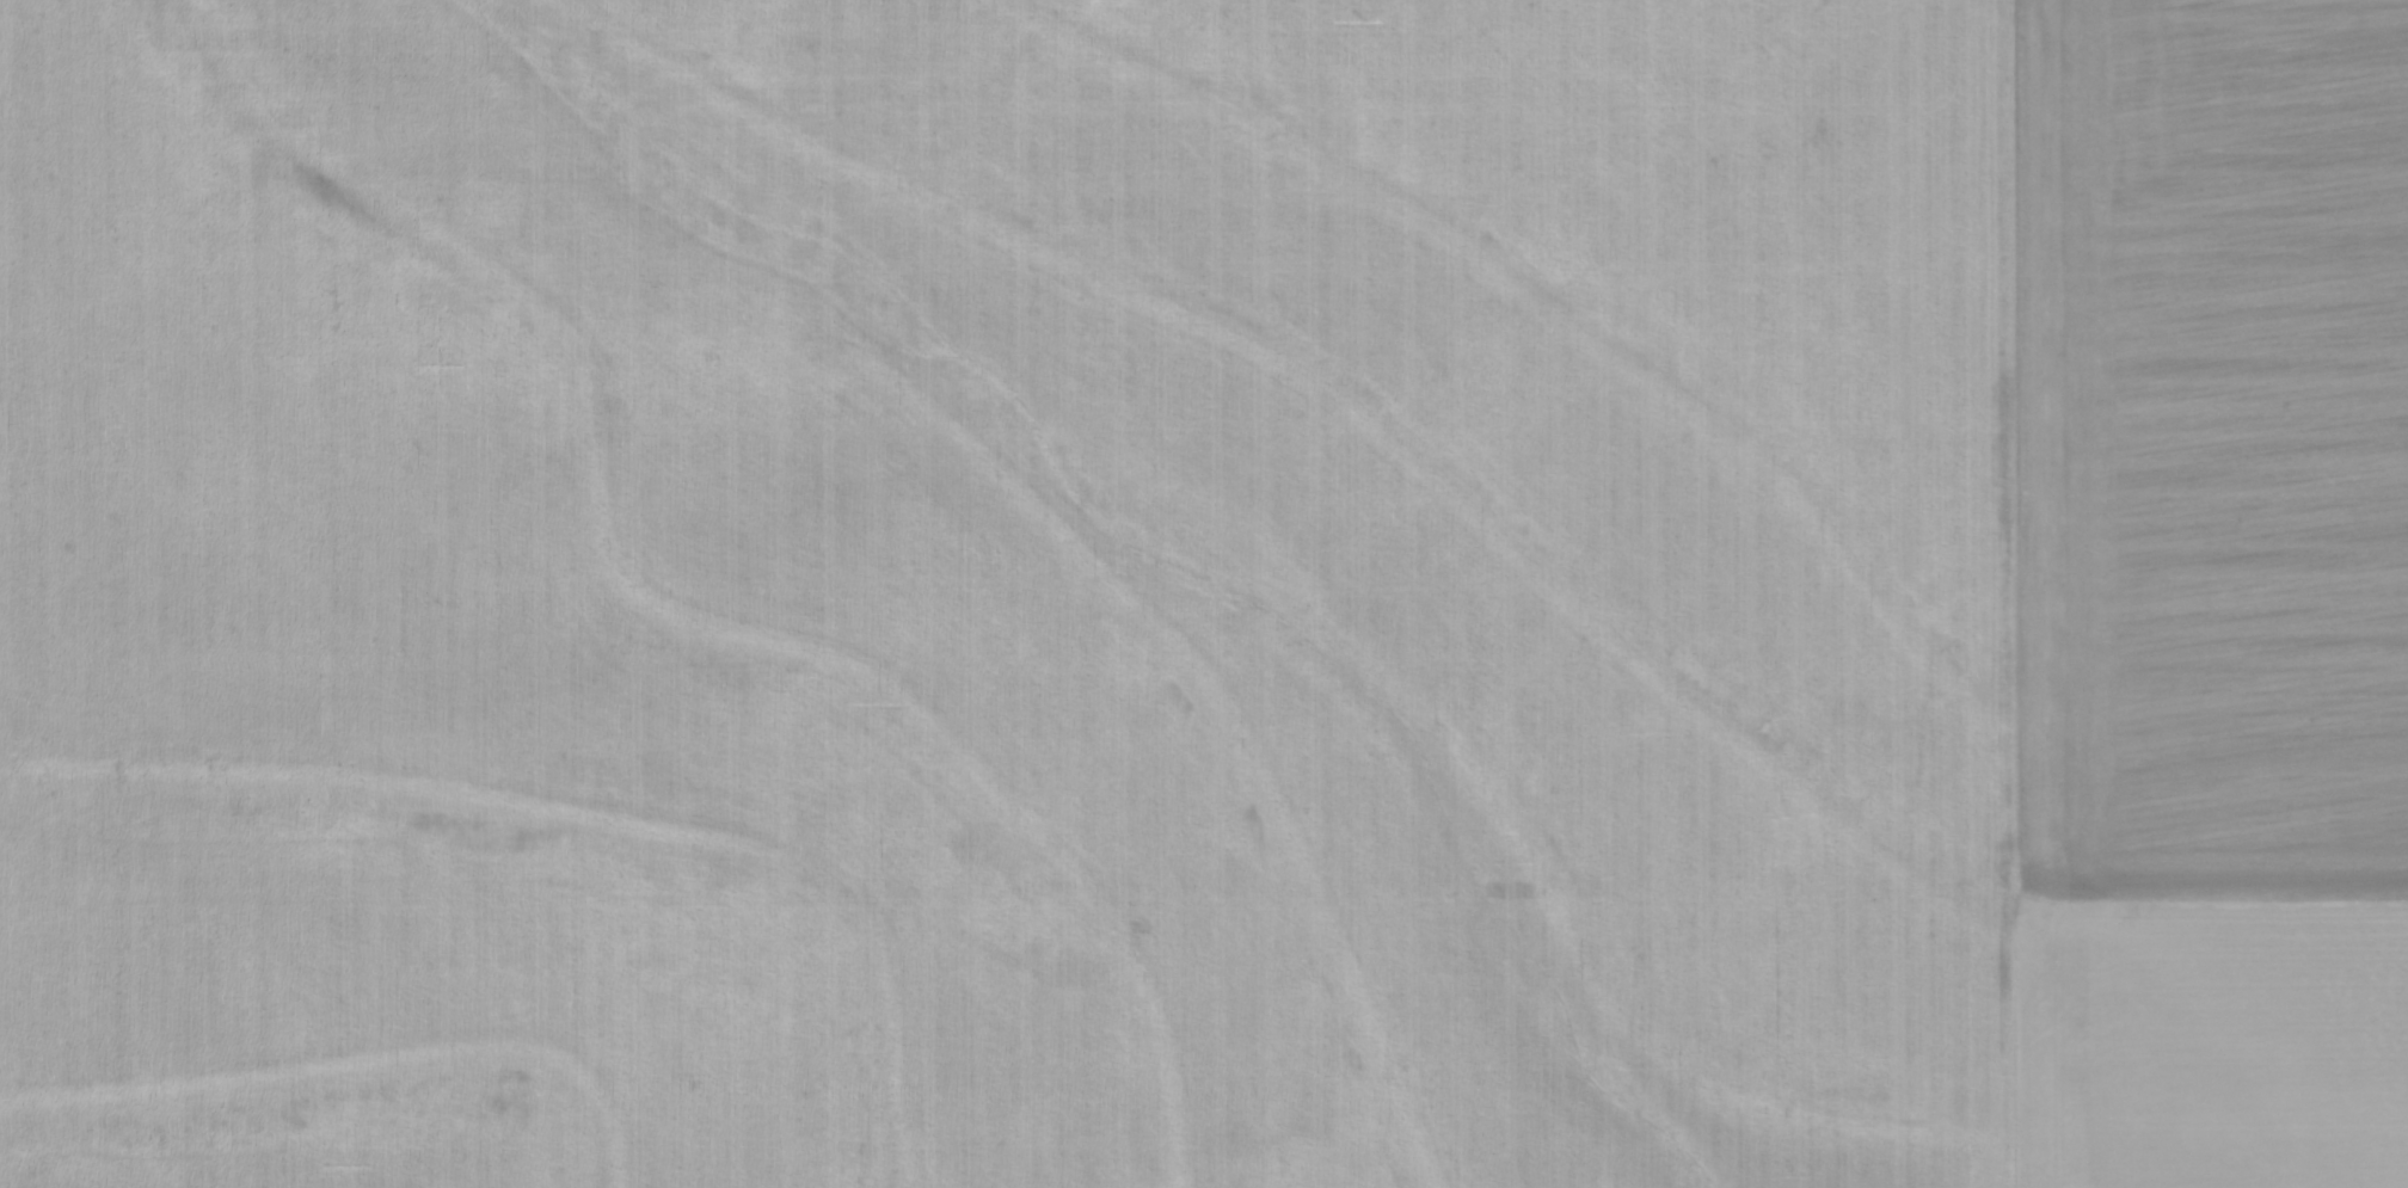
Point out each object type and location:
crop: (1204, 593)

